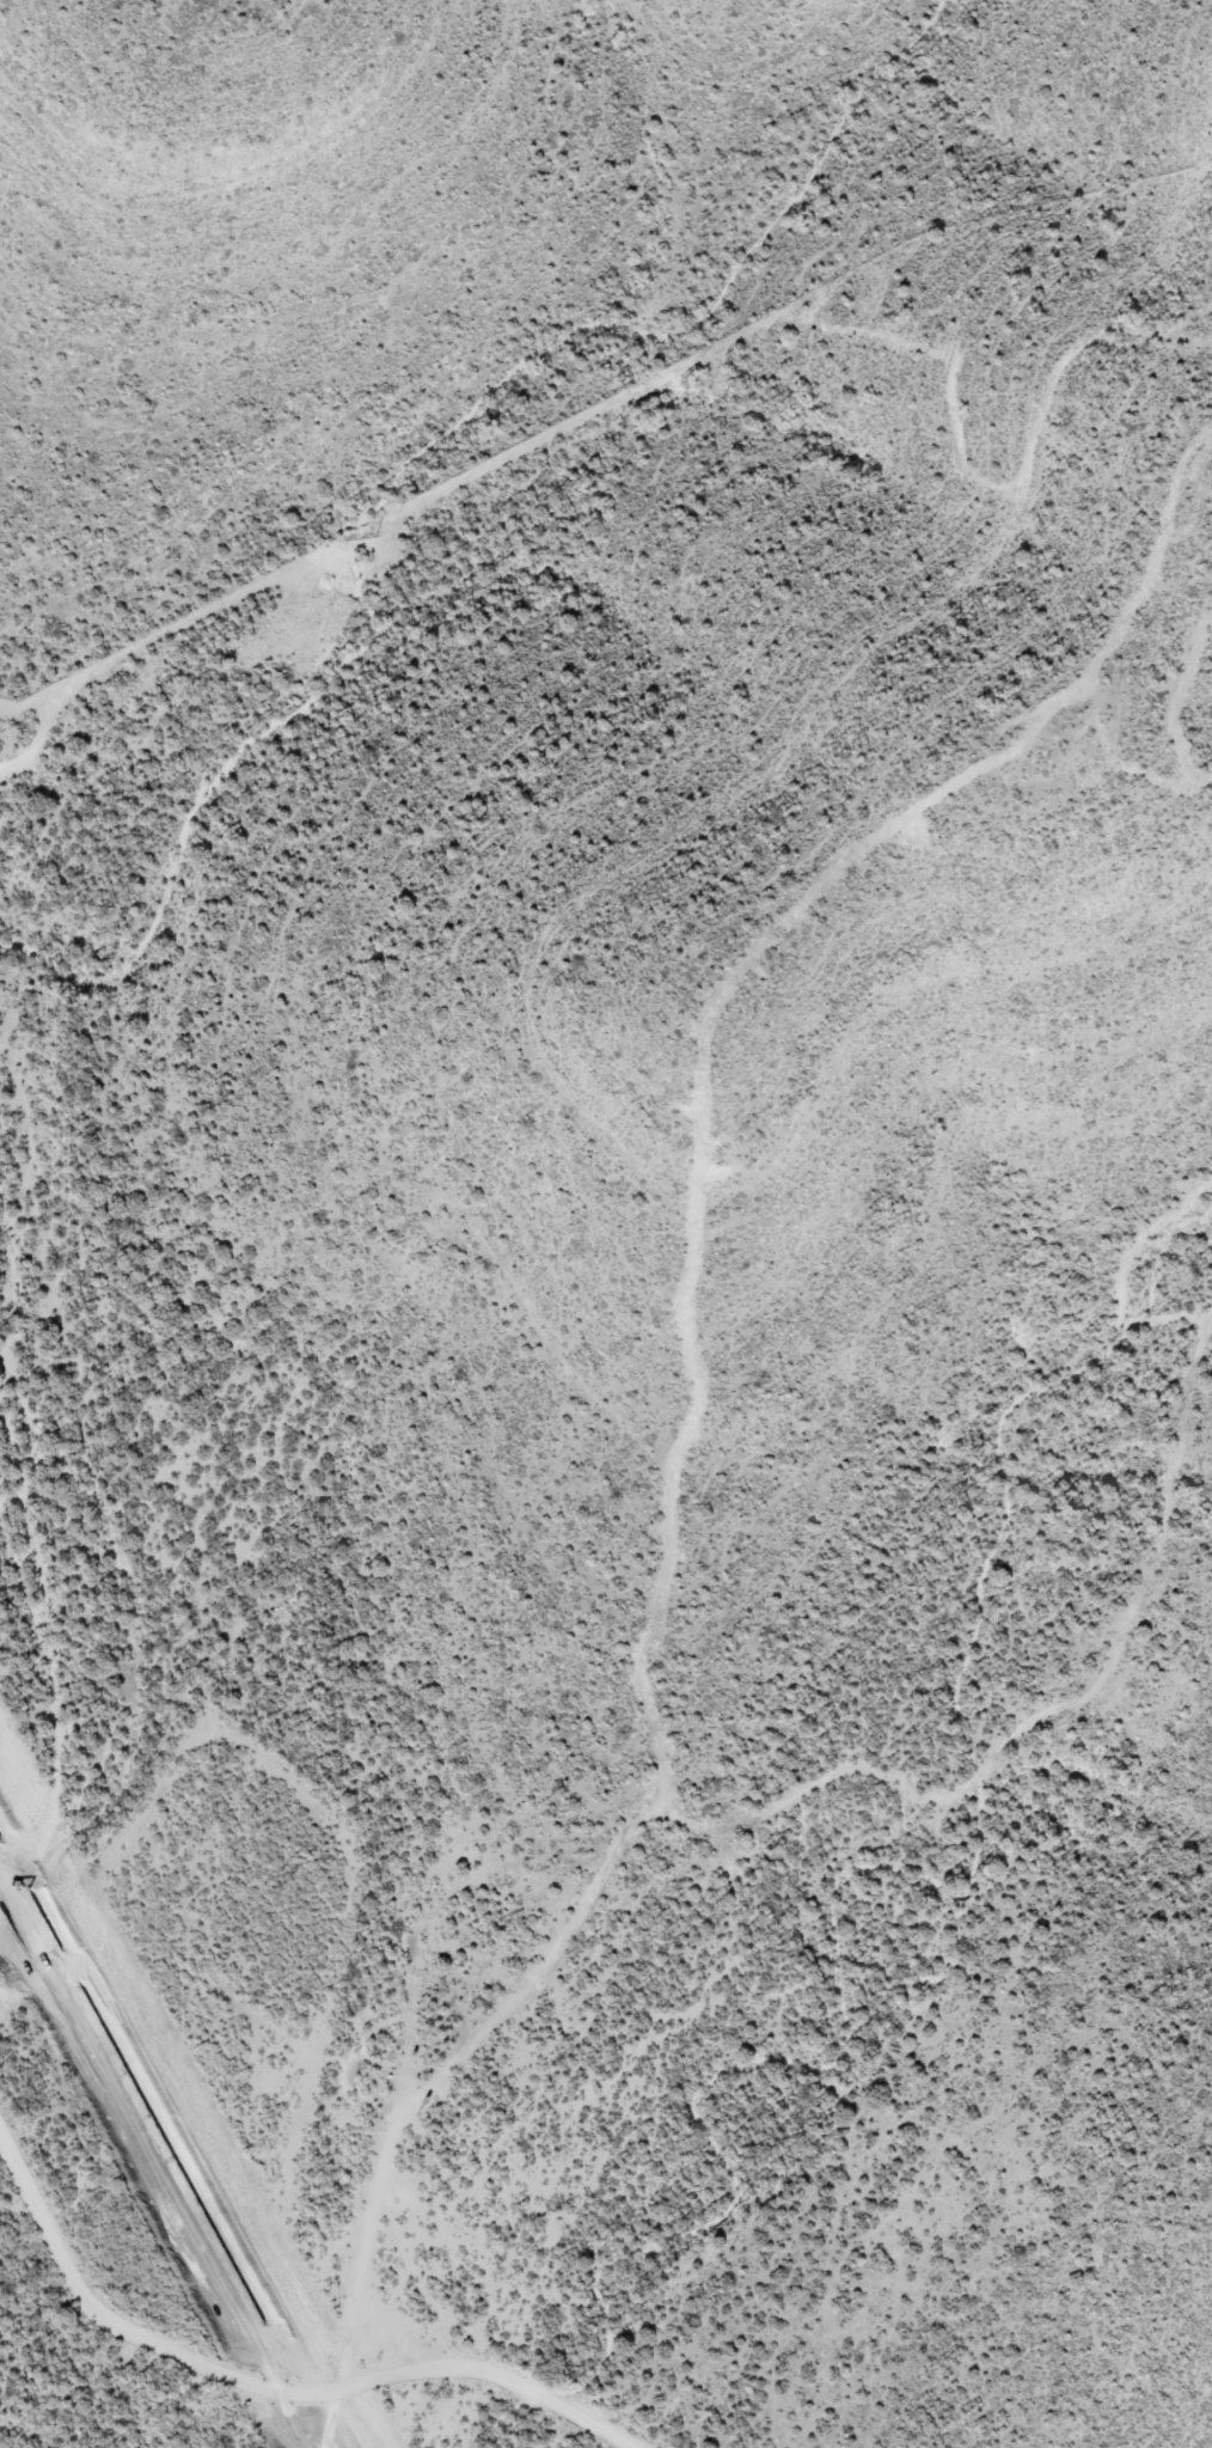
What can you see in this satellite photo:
road: (263, 2380)

